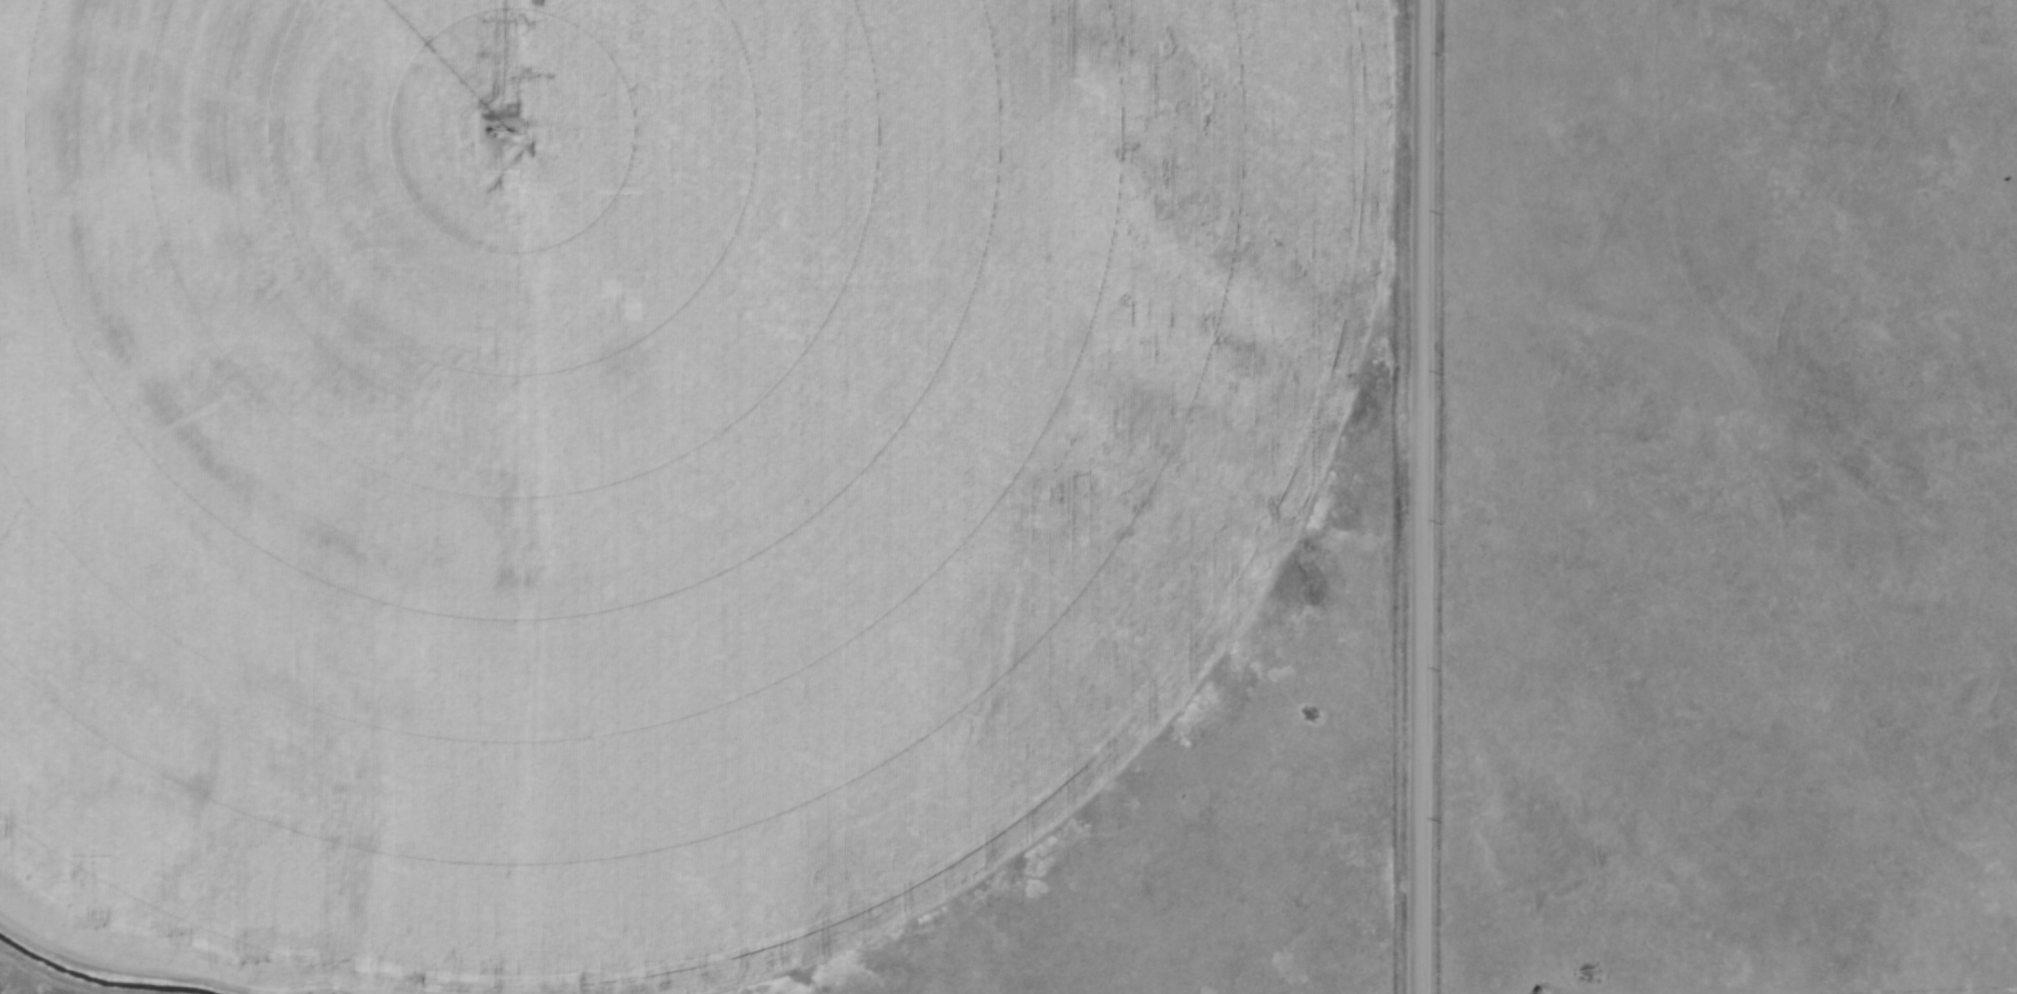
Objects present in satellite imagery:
crop: (630, 455)
road: (1411, 497)

